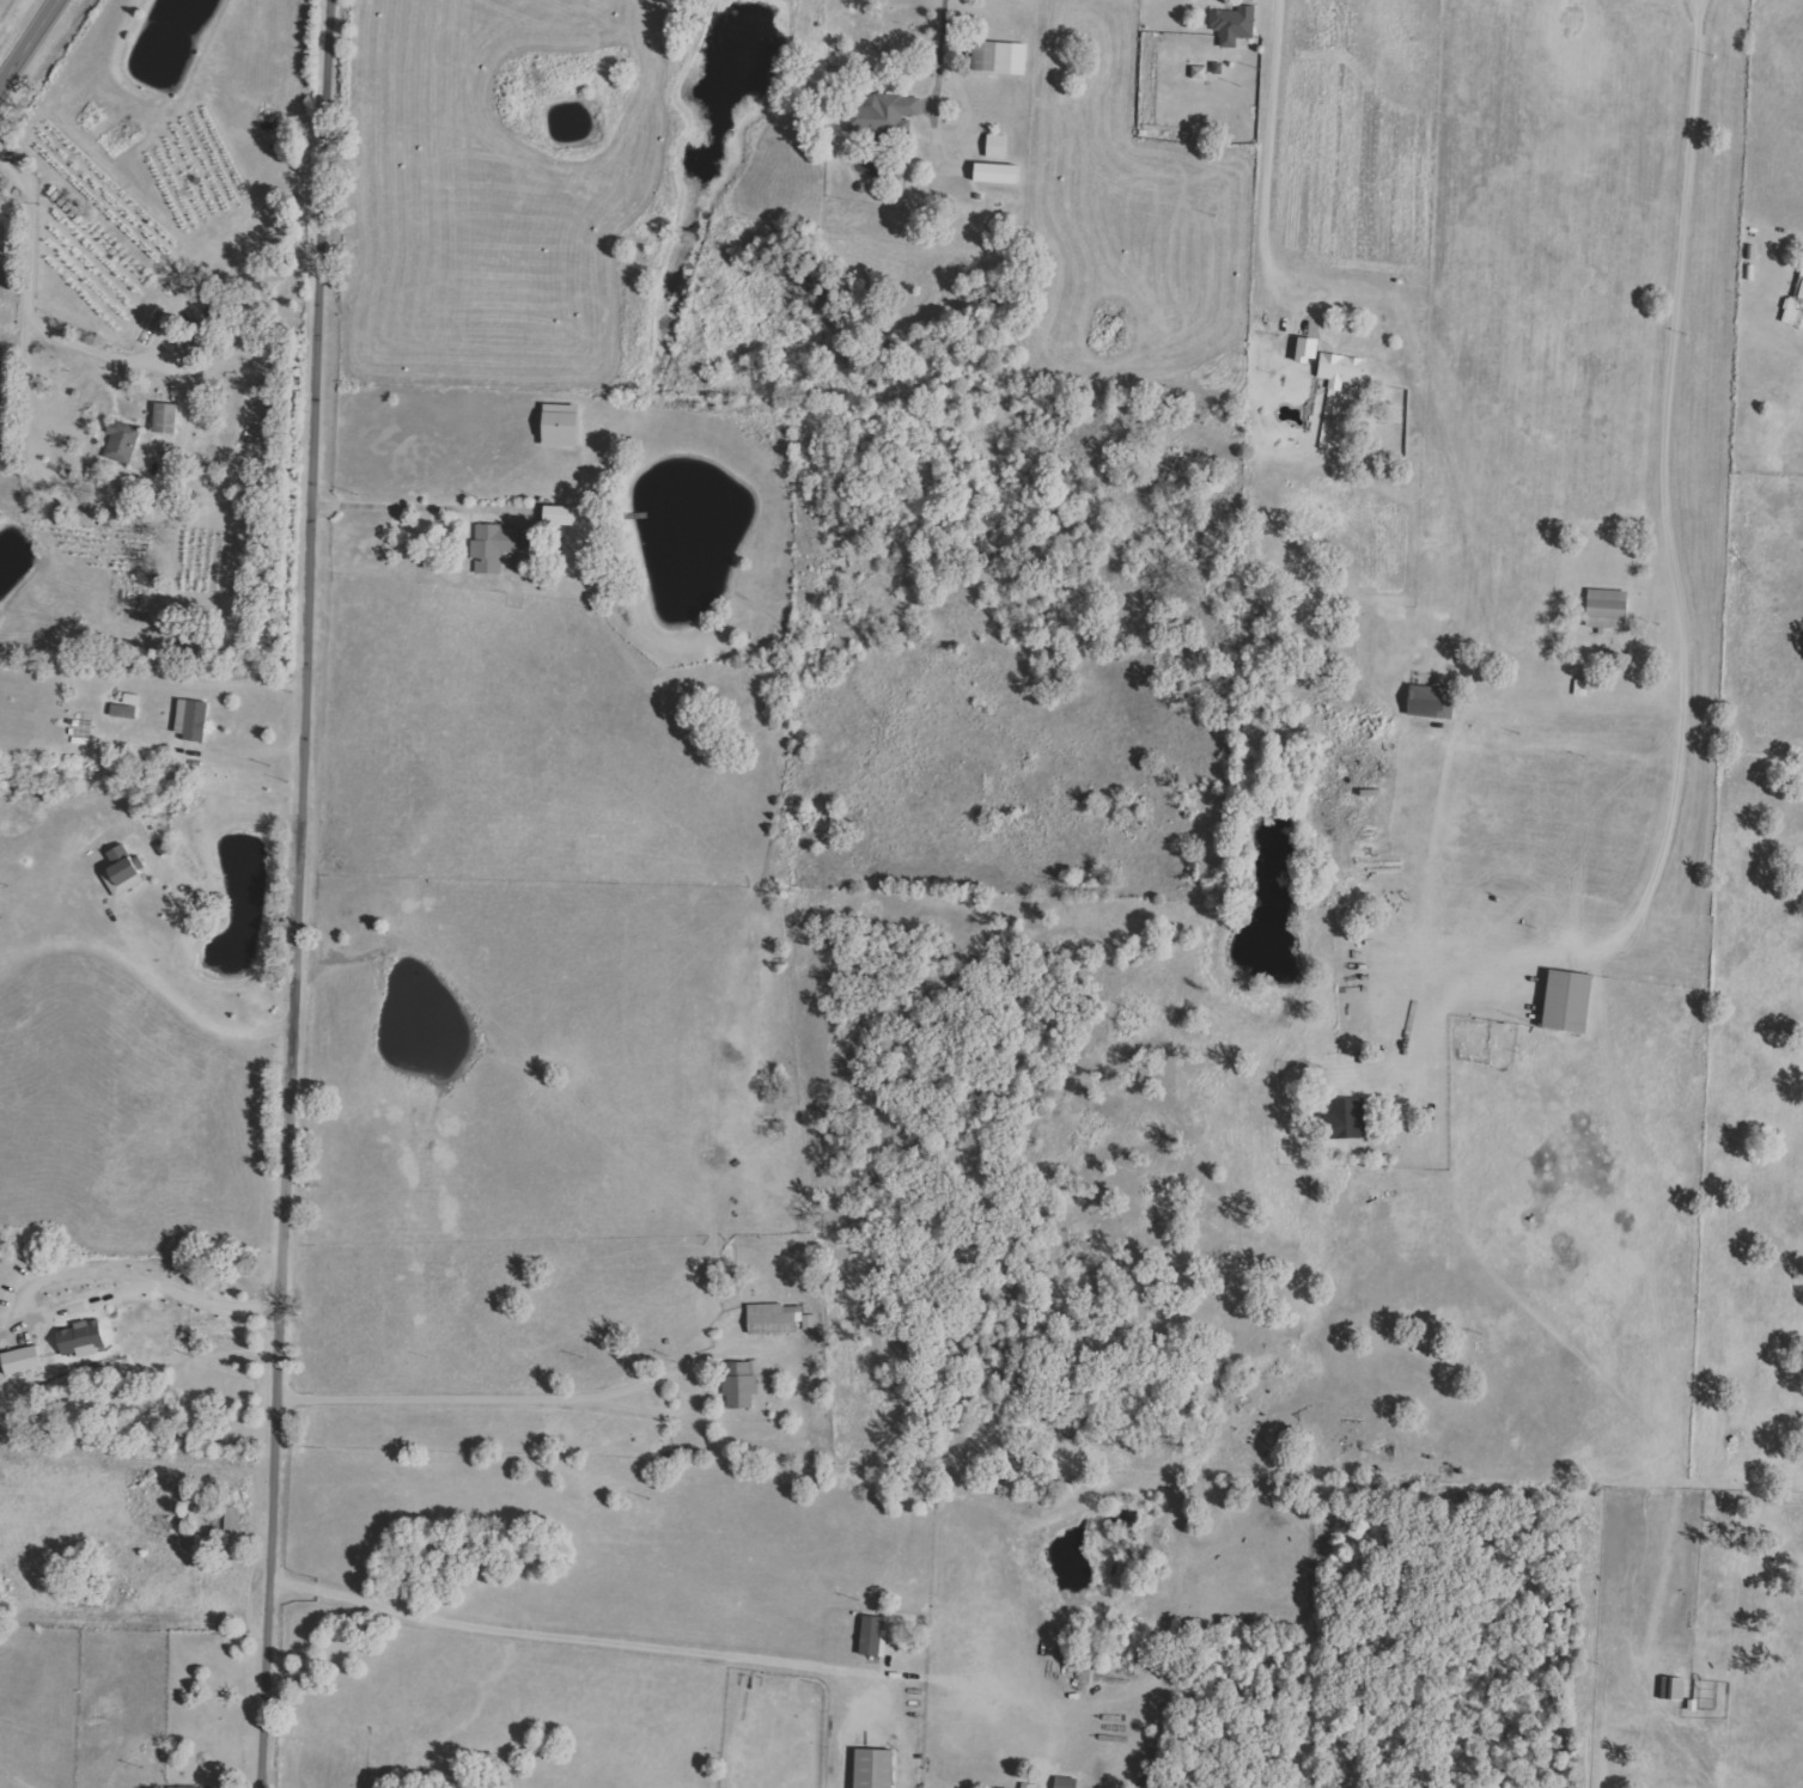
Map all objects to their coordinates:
building: (1232, 25)
road: (939, 49)
road: (32, 50)
road: (1079, 50)
building: (999, 57)
building: (889, 111)
building: (994, 146)
road: (1268, 147)
building: (995, 173)
road: (29, 227)
building: (1801, 294)
building: (1791, 312)
building: (1306, 348)
building: (1340, 370)
building: (164, 417)
building: (560, 425)
building: (121, 440)
building: (162, 443)
road: (142, 490)
road: (437, 499)
road: (1665, 502)
building: (562, 514)
building: (492, 547)
building: (1606, 609)
building: (1431, 701)
building: (190, 718)
building: (122, 871)
road: (304, 893)
road: (162, 964)
building: (1567, 1001)
building: (1347, 1118)
road: (83, 1271)
building: (778, 1319)
building: (20, 1360)
building: (739, 1384)
road: (511, 1393)
building: (229, 1519)
road: (566, 1637)
building: (872, 1637)
building: (873, 1769)
building: (1064, 1782)
building: (181, 1787)

